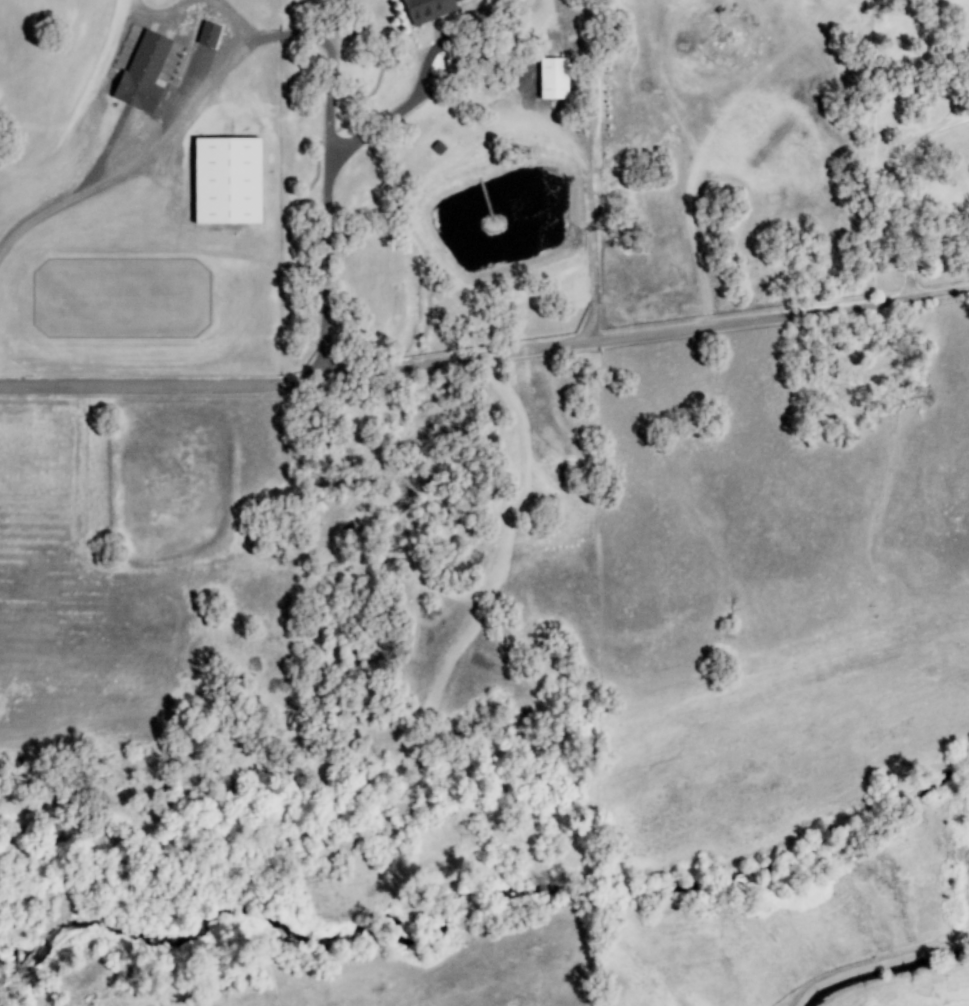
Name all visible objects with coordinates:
building: (427, 10)
building: (208, 34)
road: (292, 36)
building: (143, 72)
building: (553, 78)
road: (535, 103)
road: (954, 106)
building: (226, 180)
road: (898, 187)
road: (485, 357)

